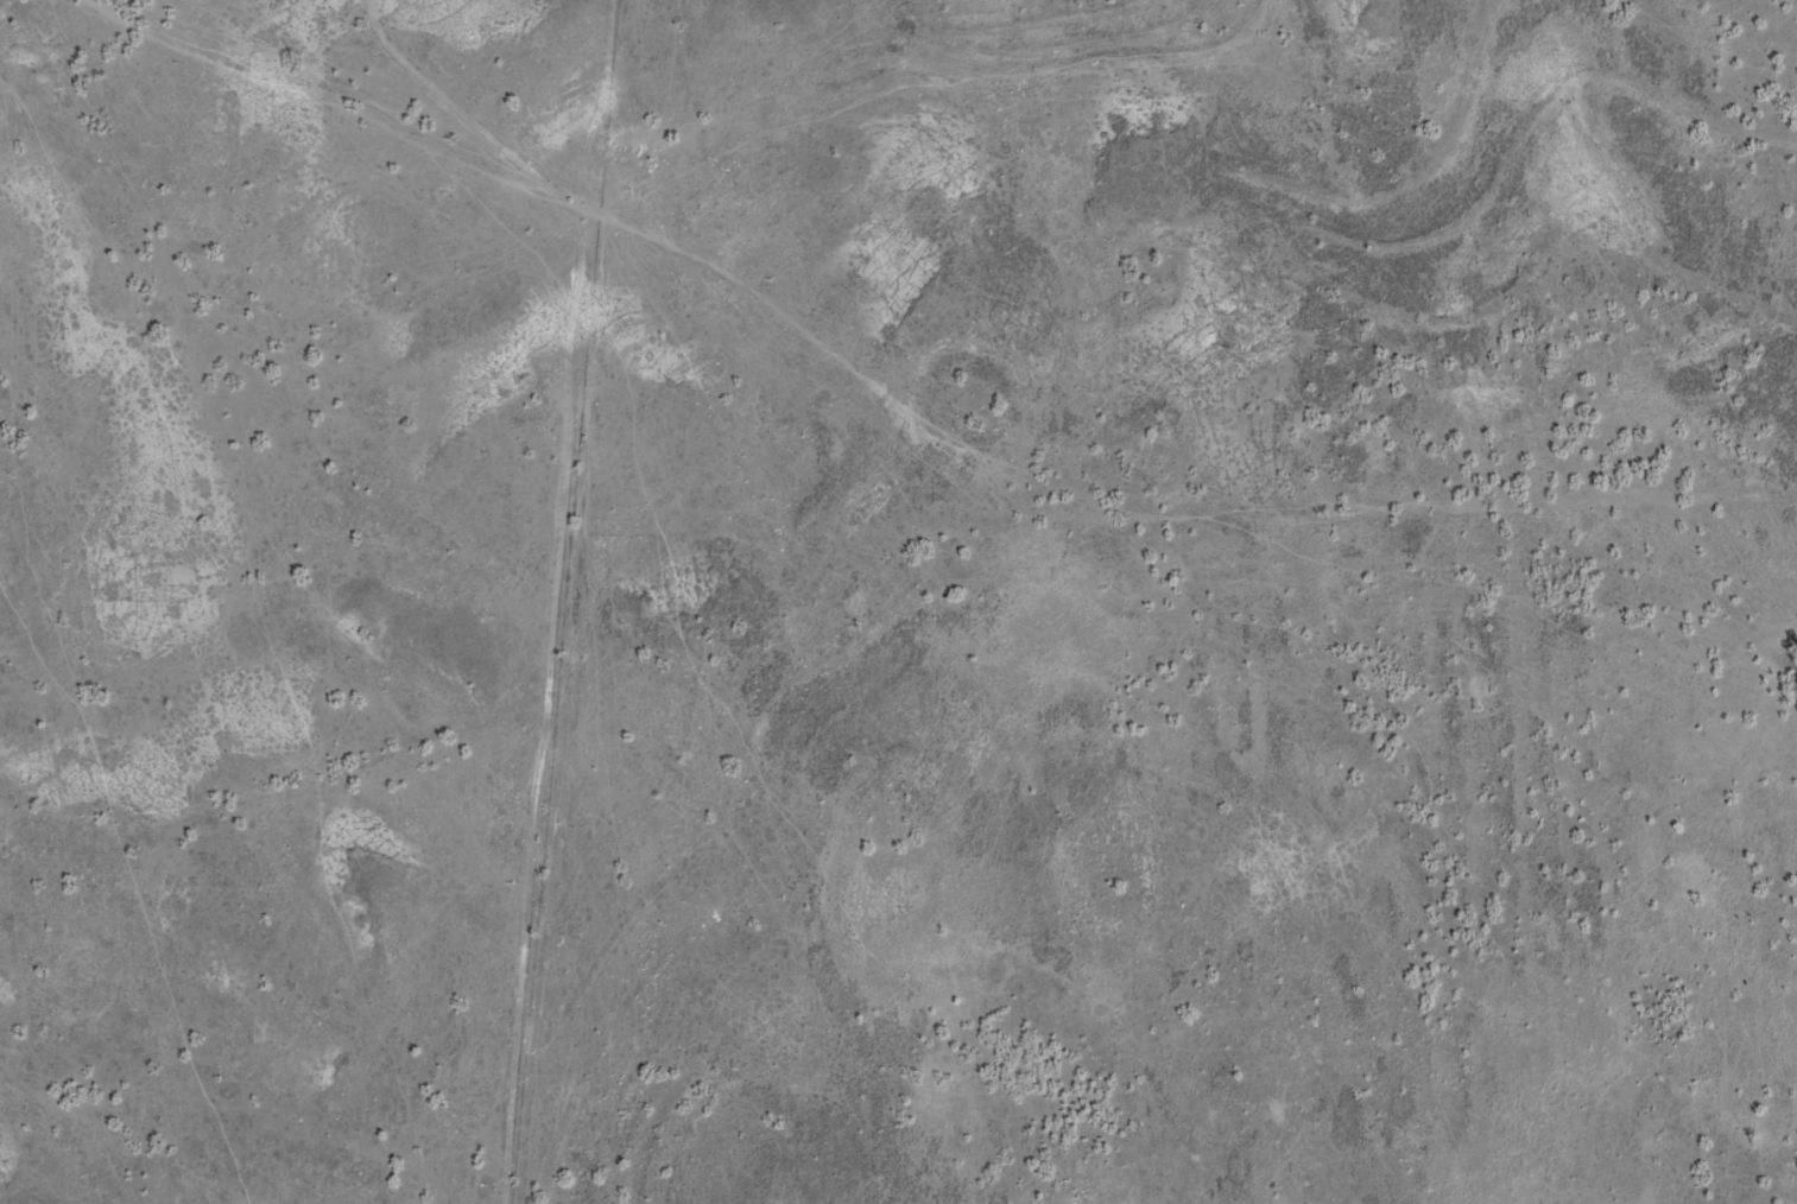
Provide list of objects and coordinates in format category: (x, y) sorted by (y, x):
road: (588, 597)

